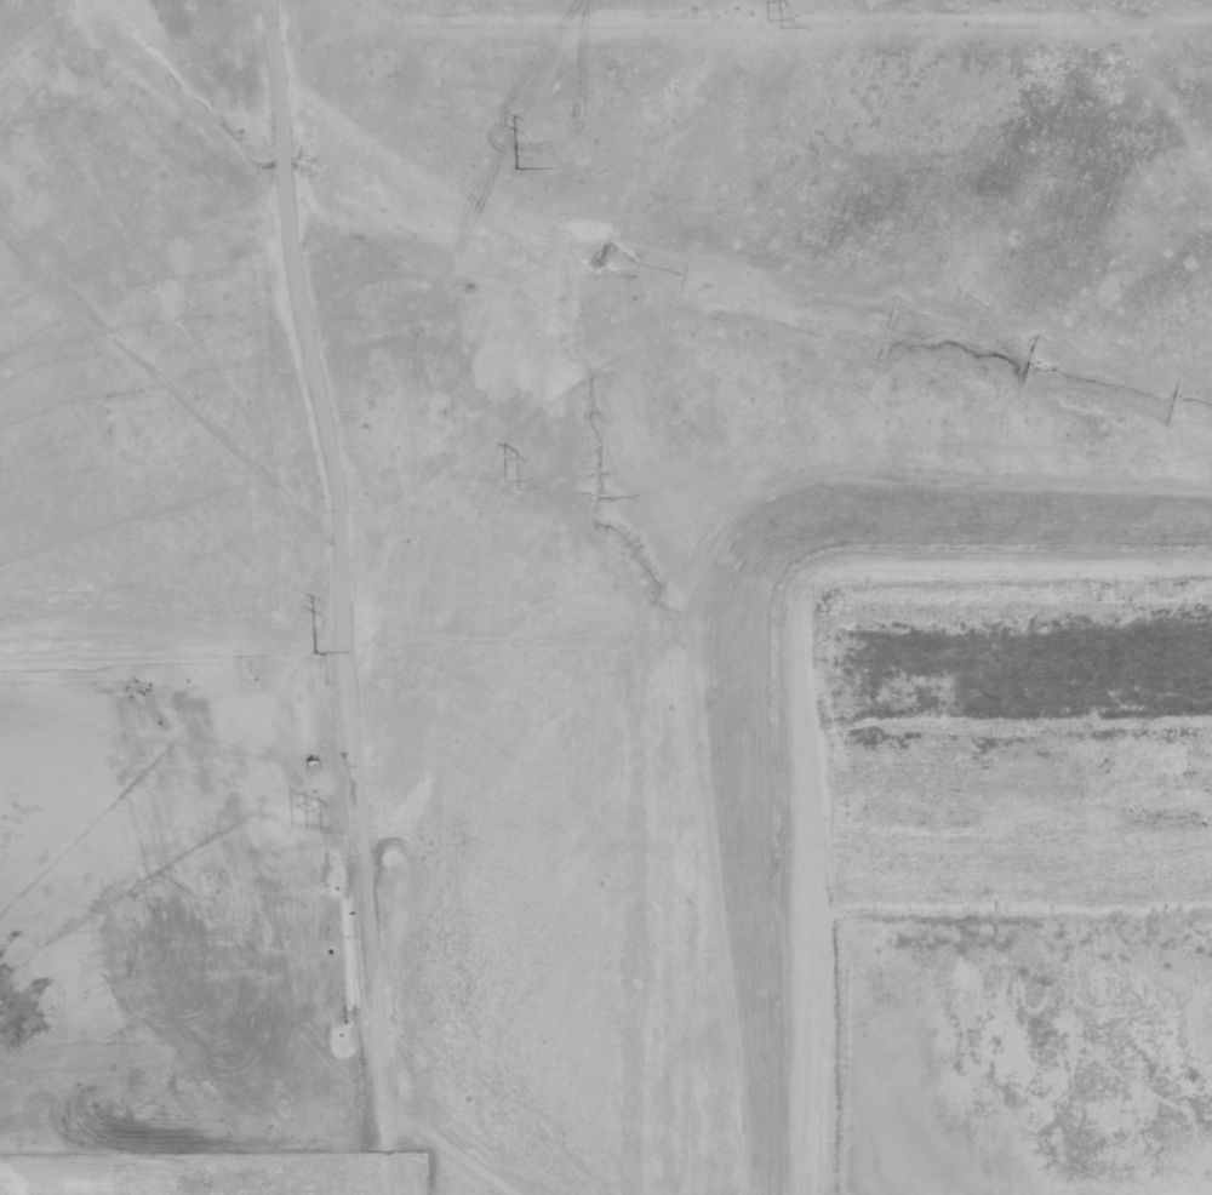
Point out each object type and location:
power tower: (772, 22)
power tower: (514, 172)
power tower: (507, 484)
power plant: (606, 597)
power tower: (313, 653)
power tower: (305, 824)

